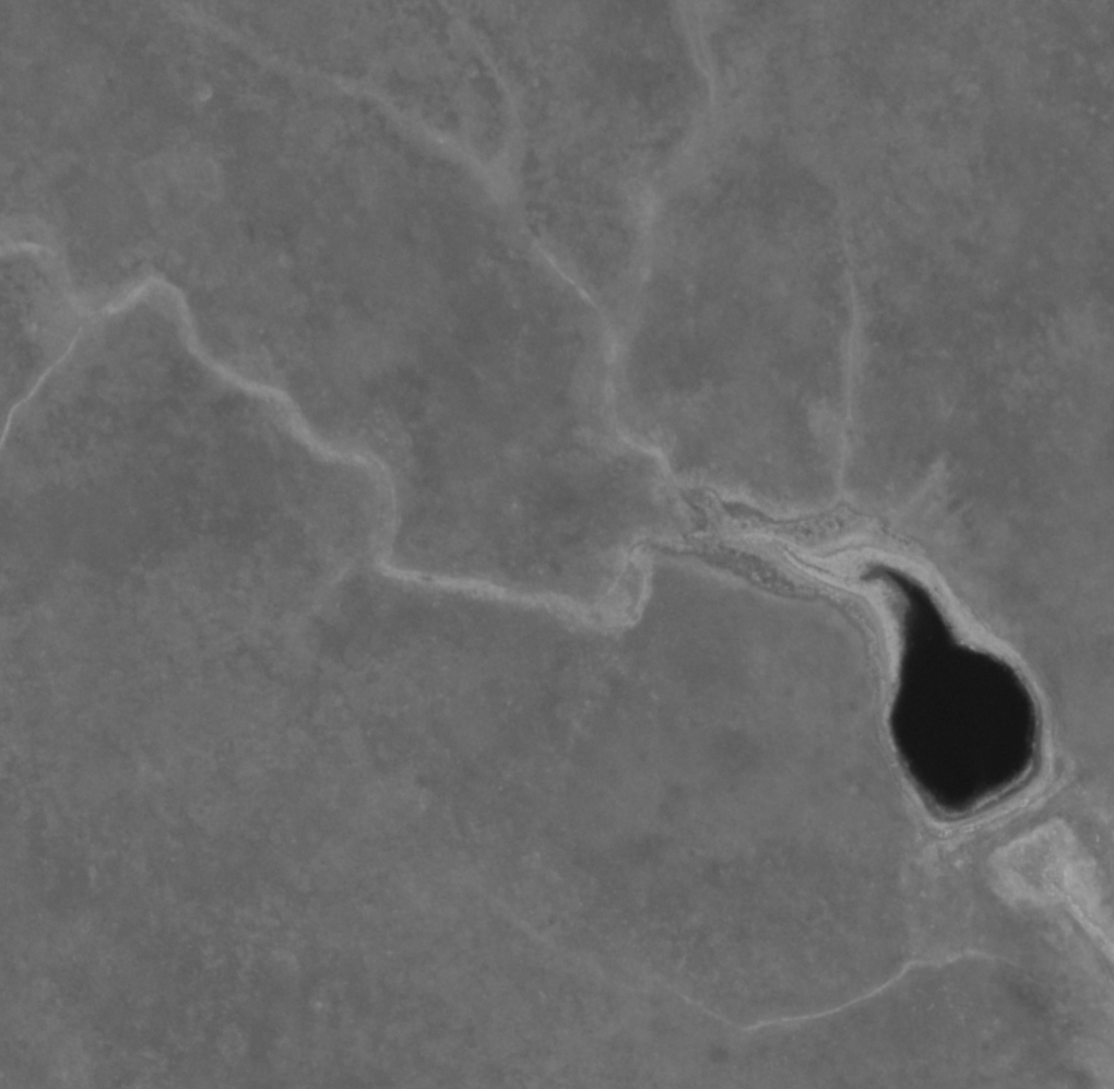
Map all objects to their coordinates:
dam: (1005, 819)

